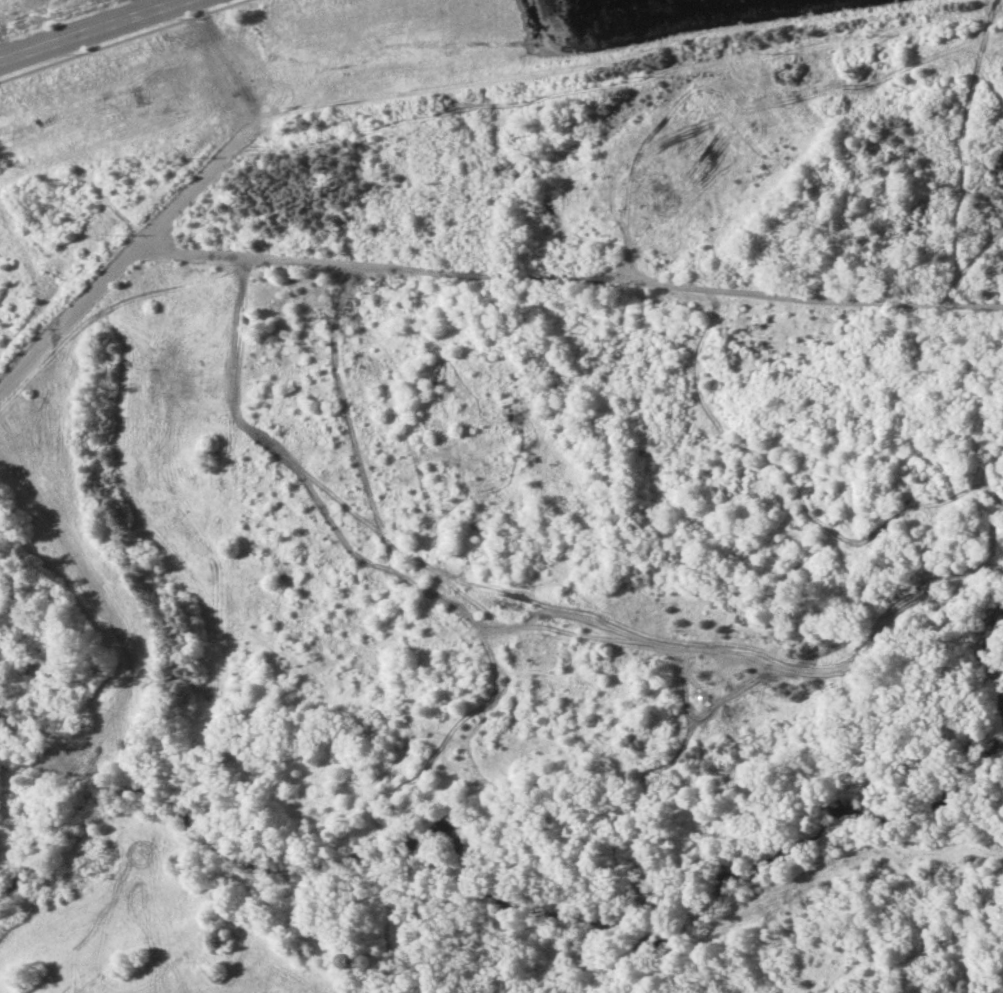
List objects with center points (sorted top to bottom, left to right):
road: (87, 30)
road: (12, 735)

